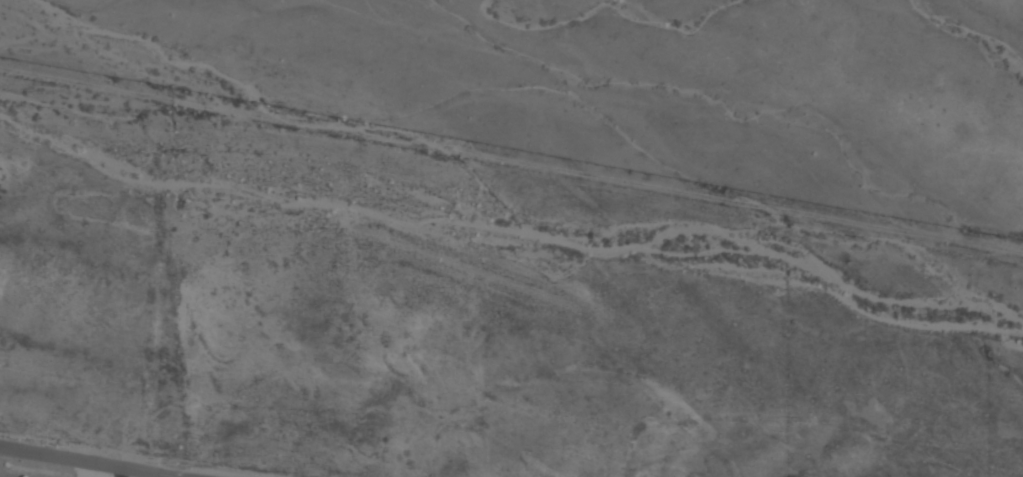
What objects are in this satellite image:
road: (90, 461)

